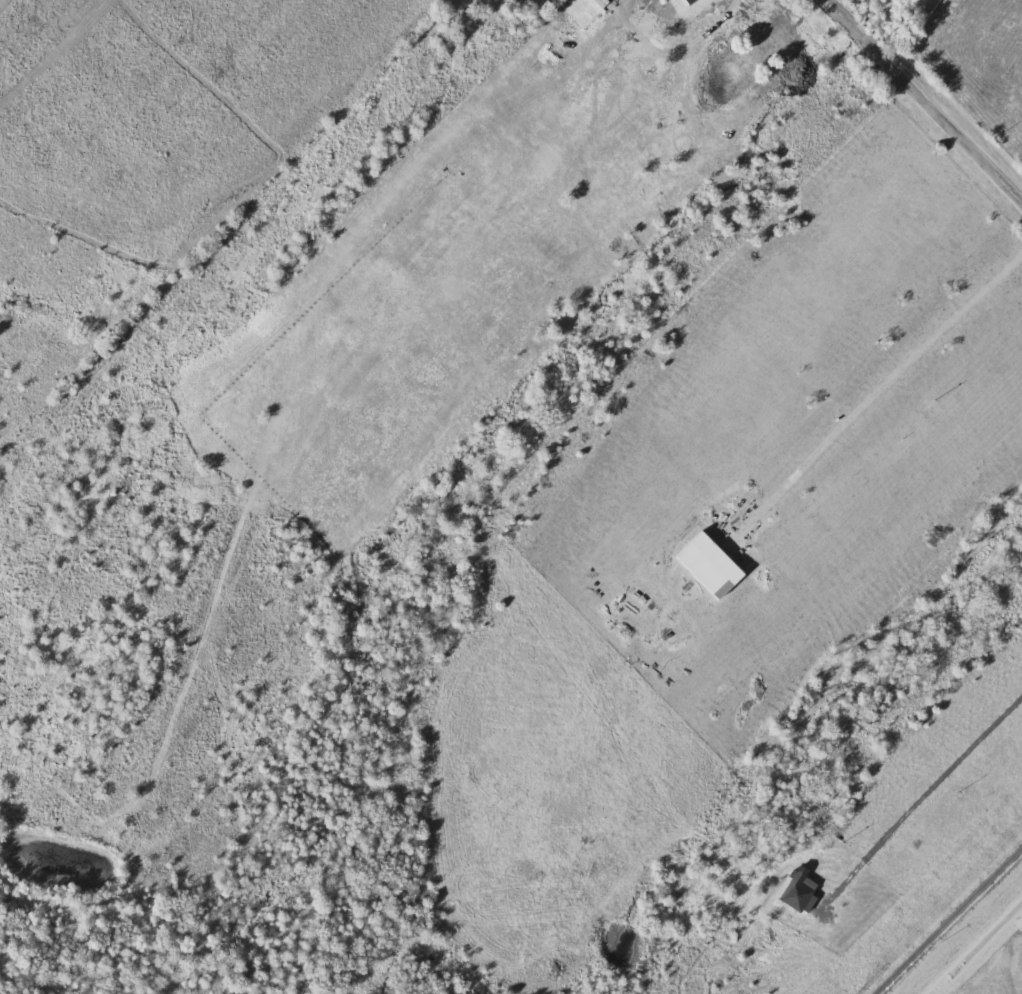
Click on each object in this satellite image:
road: (926, 98)
road: (872, 395)
road: (919, 796)
road: (976, 947)

